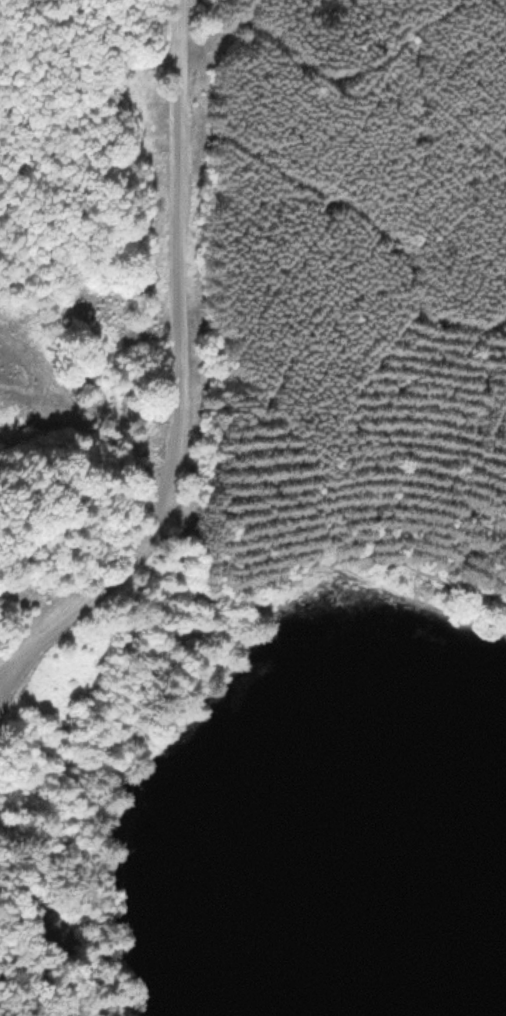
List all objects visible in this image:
road: (182, 379)
park: (93, 475)
road: (56, 921)

